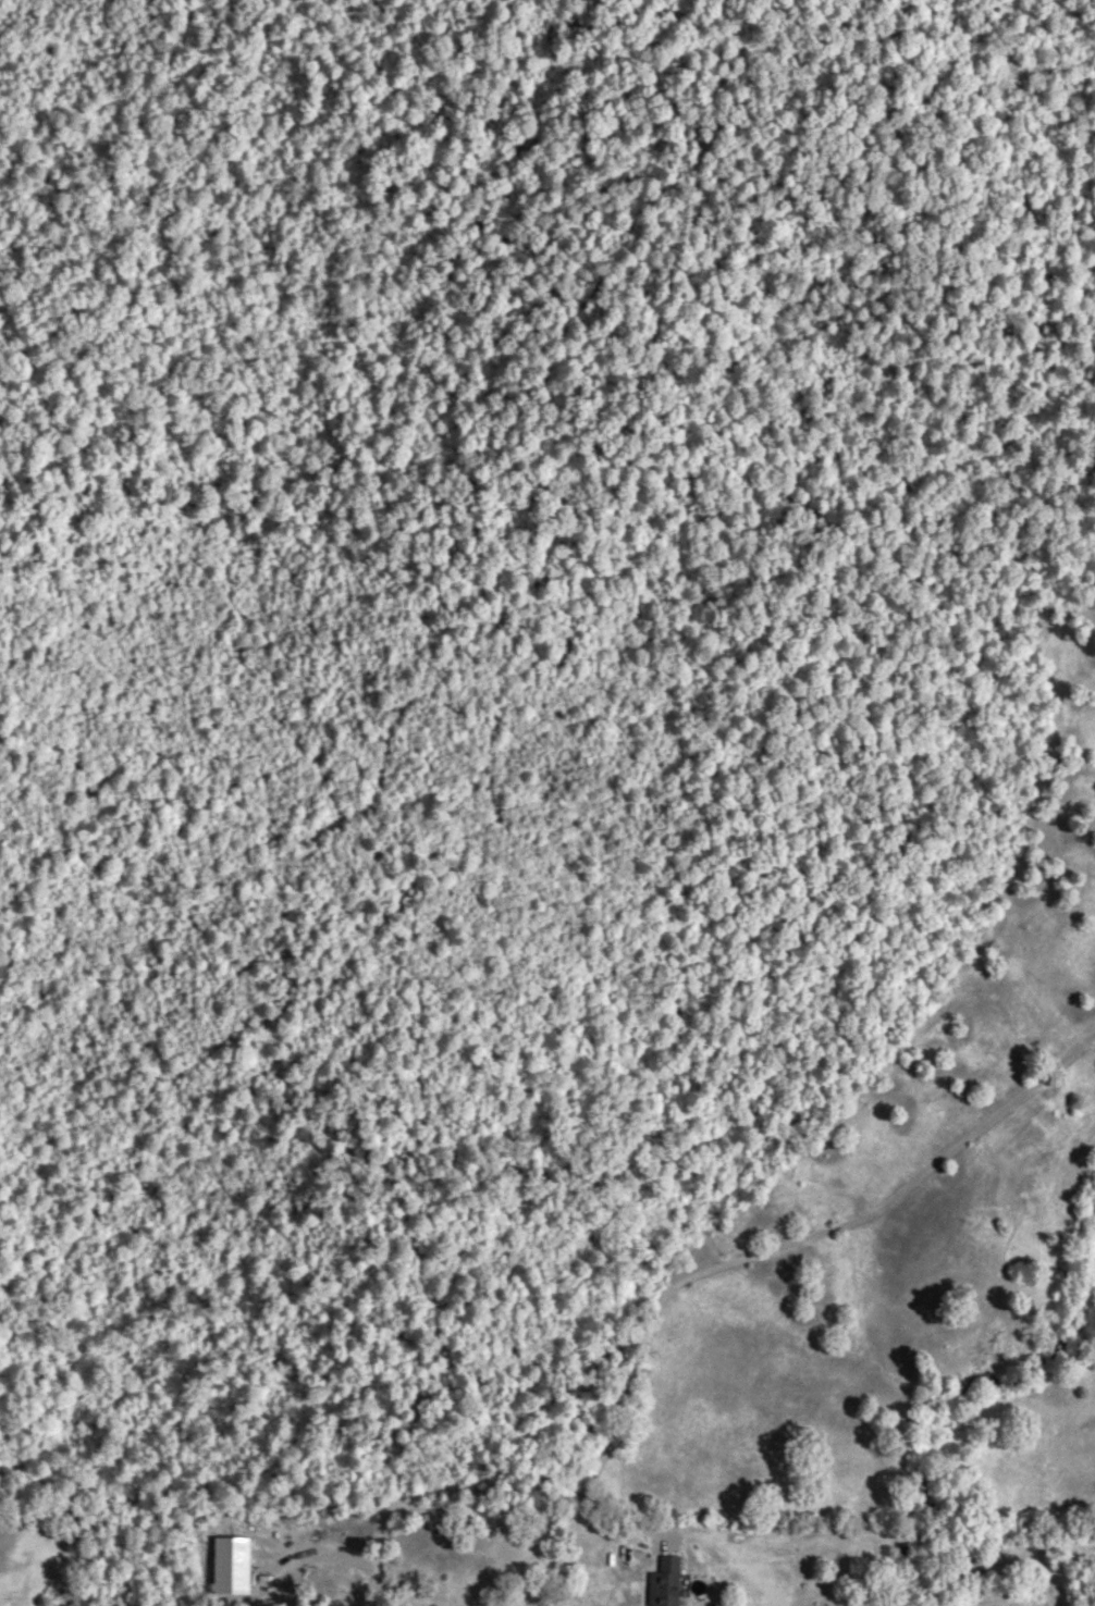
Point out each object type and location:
road: (441, 1)
road: (686, 16)
road: (898, 28)
road: (381, 462)
road: (556, 541)
road: (389, 751)
road: (443, 1021)
road: (789, 1241)
road: (430, 1256)
road: (398, 1481)
building: (259, 1542)
building: (663, 1583)

